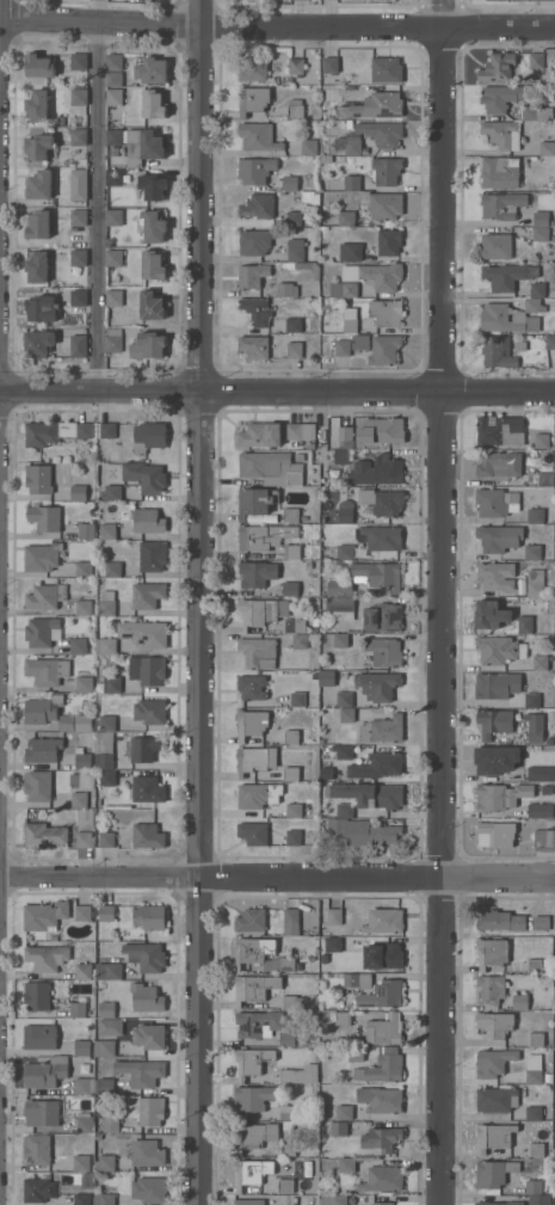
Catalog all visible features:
road: (277, 18)
building: (76, 60)
building: (536, 60)
building: (112, 61)
building: (37, 64)
building: (329, 64)
building: (296, 66)
building: (252, 67)
building: (498, 67)
building: (150, 69)
building: (386, 69)
building: (112, 78)
building: (350, 92)
building: (76, 96)
building: (112, 96)
building: (251, 98)
building: (499, 98)
building: (152, 103)
building: (36, 104)
building: (375, 106)
building: (295, 109)
building: (536, 112)
building: (347, 123)
building: (381, 133)
building: (501, 134)
building: (76, 135)
building: (257, 135)
building: (38, 145)
building: (131, 145)
building: (347, 146)
building: (308, 147)
building: (547, 148)
building: (70, 156)
building: (331, 159)
building: (254, 167)
building: (387, 171)
building: (500, 173)
building: (112, 176)
building: (38, 183)
building: (76, 183)
building: (290, 183)
building: (351, 183)
building: (150, 185)
building: (550, 186)
road: (94, 192)
building: (310, 197)
building: (257, 204)
building: (382, 204)
building: (502, 205)
building: (112, 215)
building: (76, 216)
building: (294, 217)
building: (346, 219)
building: (542, 219)
building: (37, 223)
building: (153, 226)
building: (539, 233)
building: (252, 240)
building: (388, 241)
building: (495, 246)
building: (295, 250)
building: (349, 251)
building: (76, 256)
building: (112, 256)
building: (152, 264)
building: (36, 265)
building: (308, 268)
building: (249, 273)
building: (374, 275)
building: (507, 276)
building: (341, 289)
building: (286, 290)
building: (537, 290)
building: (76, 296)
building: (112, 296)
building: (150, 303)
building: (37, 306)
building: (254, 309)
building: (386, 313)
building: (495, 315)
building: (349, 319)
building: (296, 325)
building: (111, 338)
building: (37, 340)
building: (359, 342)
building: (550, 342)
building: (76, 344)
building: (147, 344)
building: (252, 344)
building: (519, 345)
building: (341, 346)
building: (384, 349)
building: (295, 350)
building: (498, 352)
road: (277, 385)
building: (82, 428)
building: (386, 428)
building: (106, 429)
building: (300, 430)
building: (45, 431)
building: (499, 431)
building: (259, 432)
building: (345, 432)
building: (147, 435)
building: (542, 441)
building: (549, 459)
building: (499, 462)
building: (337, 465)
building: (269, 466)
building: (377, 471)
building: (144, 474)
building: (37, 477)
building: (545, 479)
building: (76, 491)
building: (111, 491)
building: (254, 499)
building: (387, 503)
building: (495, 503)
building: (344, 511)
building: (291, 515)
building: (535, 515)
building: (43, 516)
building: (147, 518)
building: (84, 528)
building: (106, 529)
building: (261, 534)
building: (382, 536)
building: (499, 537)
building: (292, 551)
building: (344, 552)
building: (532, 553)
building: (150, 554)
building: (39, 555)
building: (81, 567)
building: (113, 570)
building: (255, 572)
building: (495, 576)
building: (382, 578)
building: (535, 583)
building: (290, 589)
building: (146, 592)
building: (43, 595)
building: (105, 602)
road: (196, 602)
road: (438, 602)
building: (81, 605)
building: (340, 607)
building: (283, 608)
building: (255, 610)
building: (489, 615)
building: (382, 617)
building: (528, 623)
building: (294, 626)
building: (41, 629)
building: (144, 632)
building: (306, 640)
building: (340, 640)
building: (75, 644)
building: (104, 644)
building: (257, 650)
building: (499, 650)
building: (384, 651)
building: (541, 662)
building: (146, 668)
building: (45, 669)
building: (325, 676)
building: (82, 682)
building: (106, 682)
building: (251, 684)
building: (377, 686)
building: (497, 686)
building: (344, 699)
building: (297, 700)
building: (41, 707)
building: (148, 709)
building: (346, 714)
building: (105, 720)
building: (81, 721)
building: (251, 723)
building: (493, 723)
building: (534, 727)
building: (381, 730)
building: (291, 737)
building: (549, 742)
building: (144, 746)
building: (41, 748)
building: (103, 749)
building: (341, 750)
building: (81, 756)
building: (254, 757)
building: (495, 758)
building: (376, 766)
building: (323, 771)
building: (291, 774)
building: (541, 774)
building: (105, 775)
building: (81, 777)
building: (36, 783)
building: (146, 787)
building: (545, 789)
building: (257, 793)
building: (368, 794)
building: (500, 795)
building: (78, 798)
building: (344, 810)
building: (294, 811)
building: (534, 811)
building: (307, 812)
building: (252, 831)
building: (360, 831)
building: (42, 832)
building: (146, 834)
building: (495, 835)
building: (82, 837)
building: (105, 837)
building: (294, 837)
building: (544, 840)
road: (277, 875)
building: (81, 910)
building: (105, 911)
building: (43, 914)
building: (148, 915)
building: (291, 915)
building: (249, 918)
building: (329, 918)
building: (382, 918)
building: (500, 921)
building: (541, 923)
building: (332, 942)
building: (261, 953)
building: (492, 953)
building: (144, 954)
building: (382, 954)
building: (44, 955)
building: (322, 955)
building: (547, 963)
building: (534, 966)
building: (81, 969)
building: (107, 970)
building: (357, 979)
building: (100, 985)
building: (253, 986)
building: (492, 988)
building: (35, 994)
building: (383, 995)
building: (144, 996)
building: (520, 1002)
building: (78, 1007)
building: (106, 1008)
building: (265, 1018)
building: (341, 1019)
building: (495, 1023)
building: (109, 1025)
building: (384, 1029)
building: (148, 1034)
building: (38, 1035)
building: (285, 1037)
building: (535, 1039)
building: (80, 1045)
building: (103, 1046)
building: (354, 1052)
building: (251, 1059)
building: (493, 1062)
building: (382, 1066)
building: (534, 1069)
building: (44, 1070)
building: (140, 1070)
building: (300, 1075)
building: (548, 1078)
building: (82, 1083)
building: (103, 1083)
building: (249, 1096)
building: (380, 1100)
building: (495, 1100)
building: (149, 1108)
building: (39, 1111)
building: (286, 1111)
building: (344, 1112)
building: (534, 1114)
building: (82, 1120)
building: (109, 1123)
building: (288, 1126)
building: (339, 1129)
building: (252, 1133)
building: (492, 1137)
building: (378, 1138)
building: (35, 1146)
building: (289, 1150)
building: (535, 1150)
building: (146, 1151)
building: (79, 1161)
building: (105, 1161)
building: (345, 1163)
building: (249, 1169)
building: (493, 1174)
building: (381, 1178)
building: (37, 1187)
building: (285, 1187)
building: (534, 1187)
building: (147, 1188)
building: (239, 1193)
building: (80, 1198)
building: (103, 1198)
building: (332, 1199)
building: (539, 1200)
building: (247, 1201)
building: (381, 1203)
building: (501, 1203)

